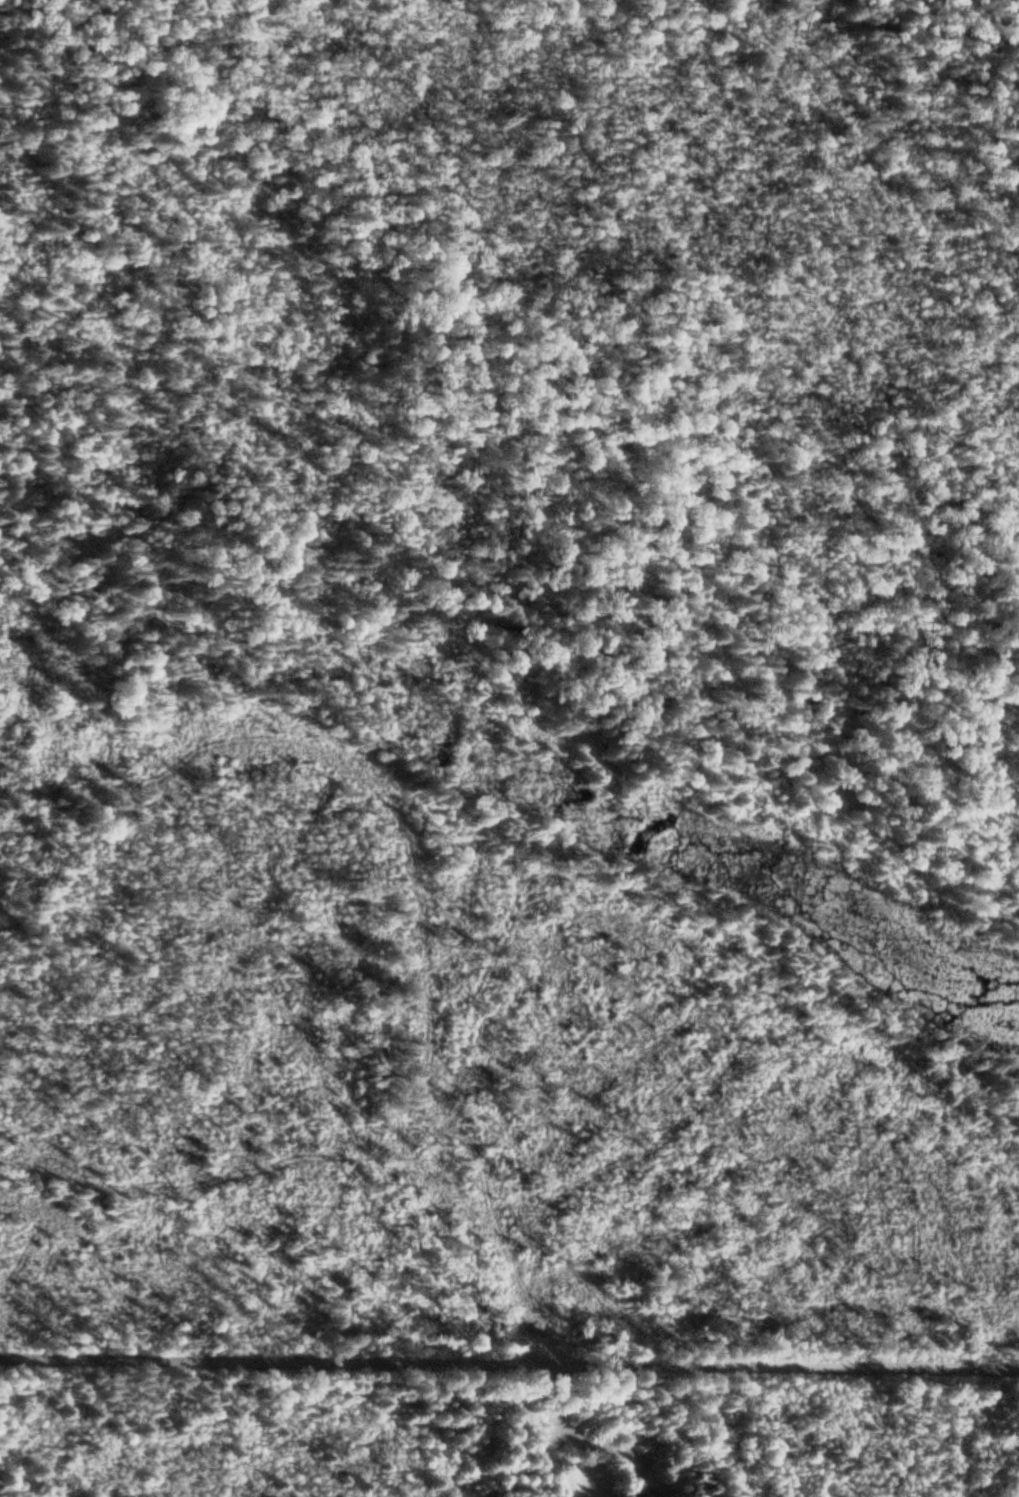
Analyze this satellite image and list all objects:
road: (509, 1361)

